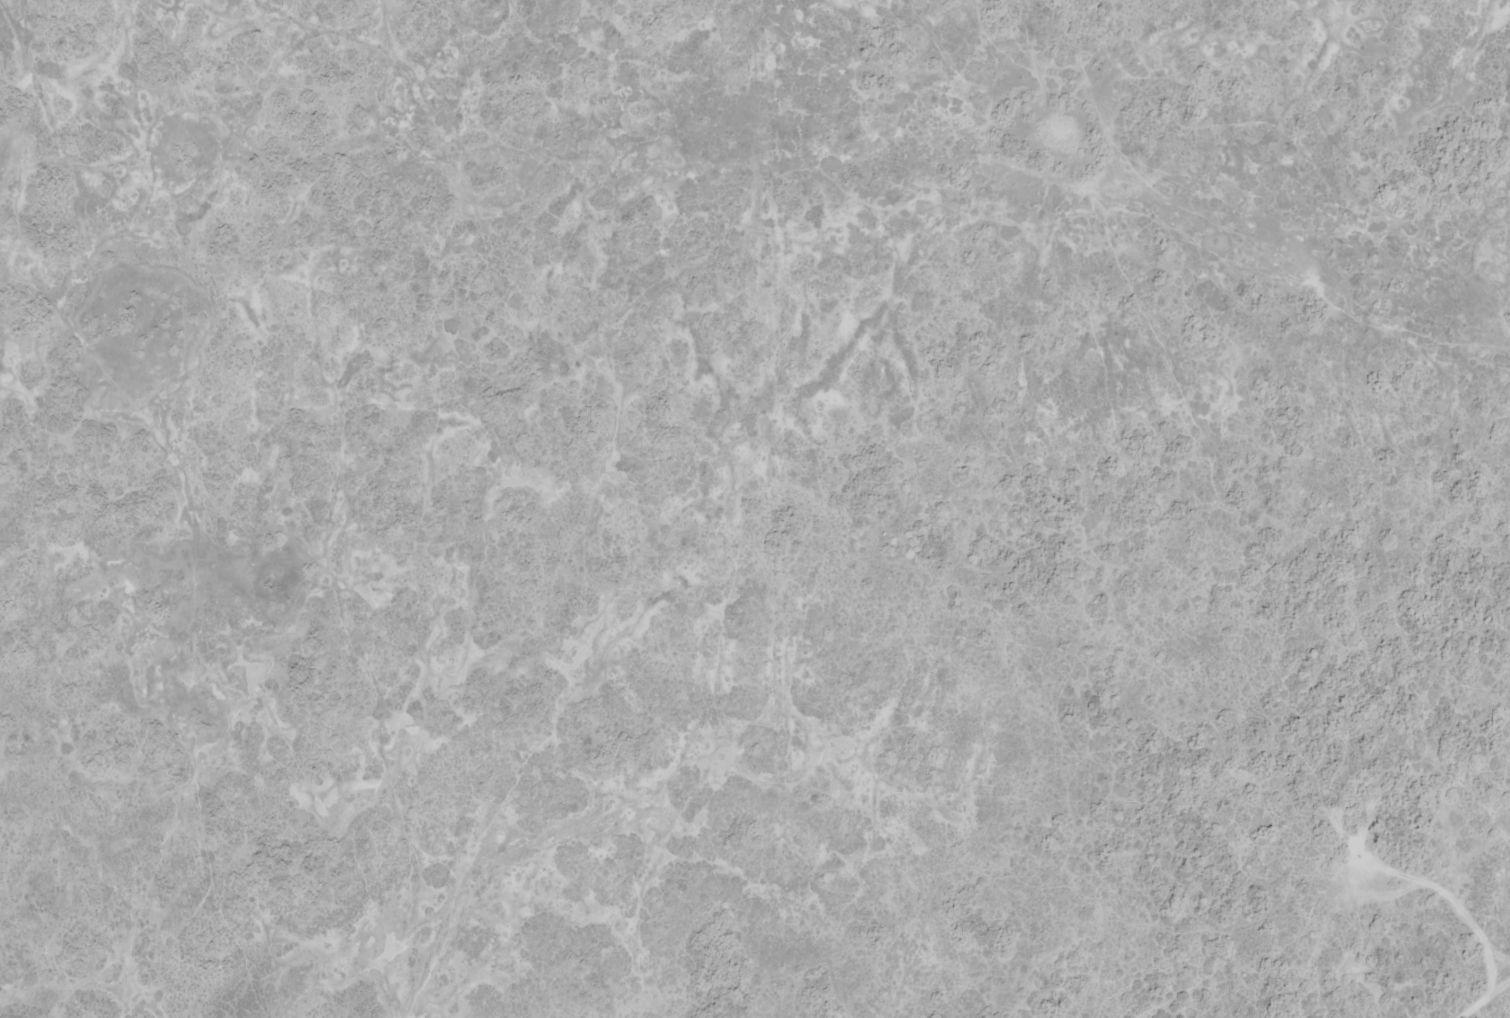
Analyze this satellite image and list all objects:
road: (1489, 998)

